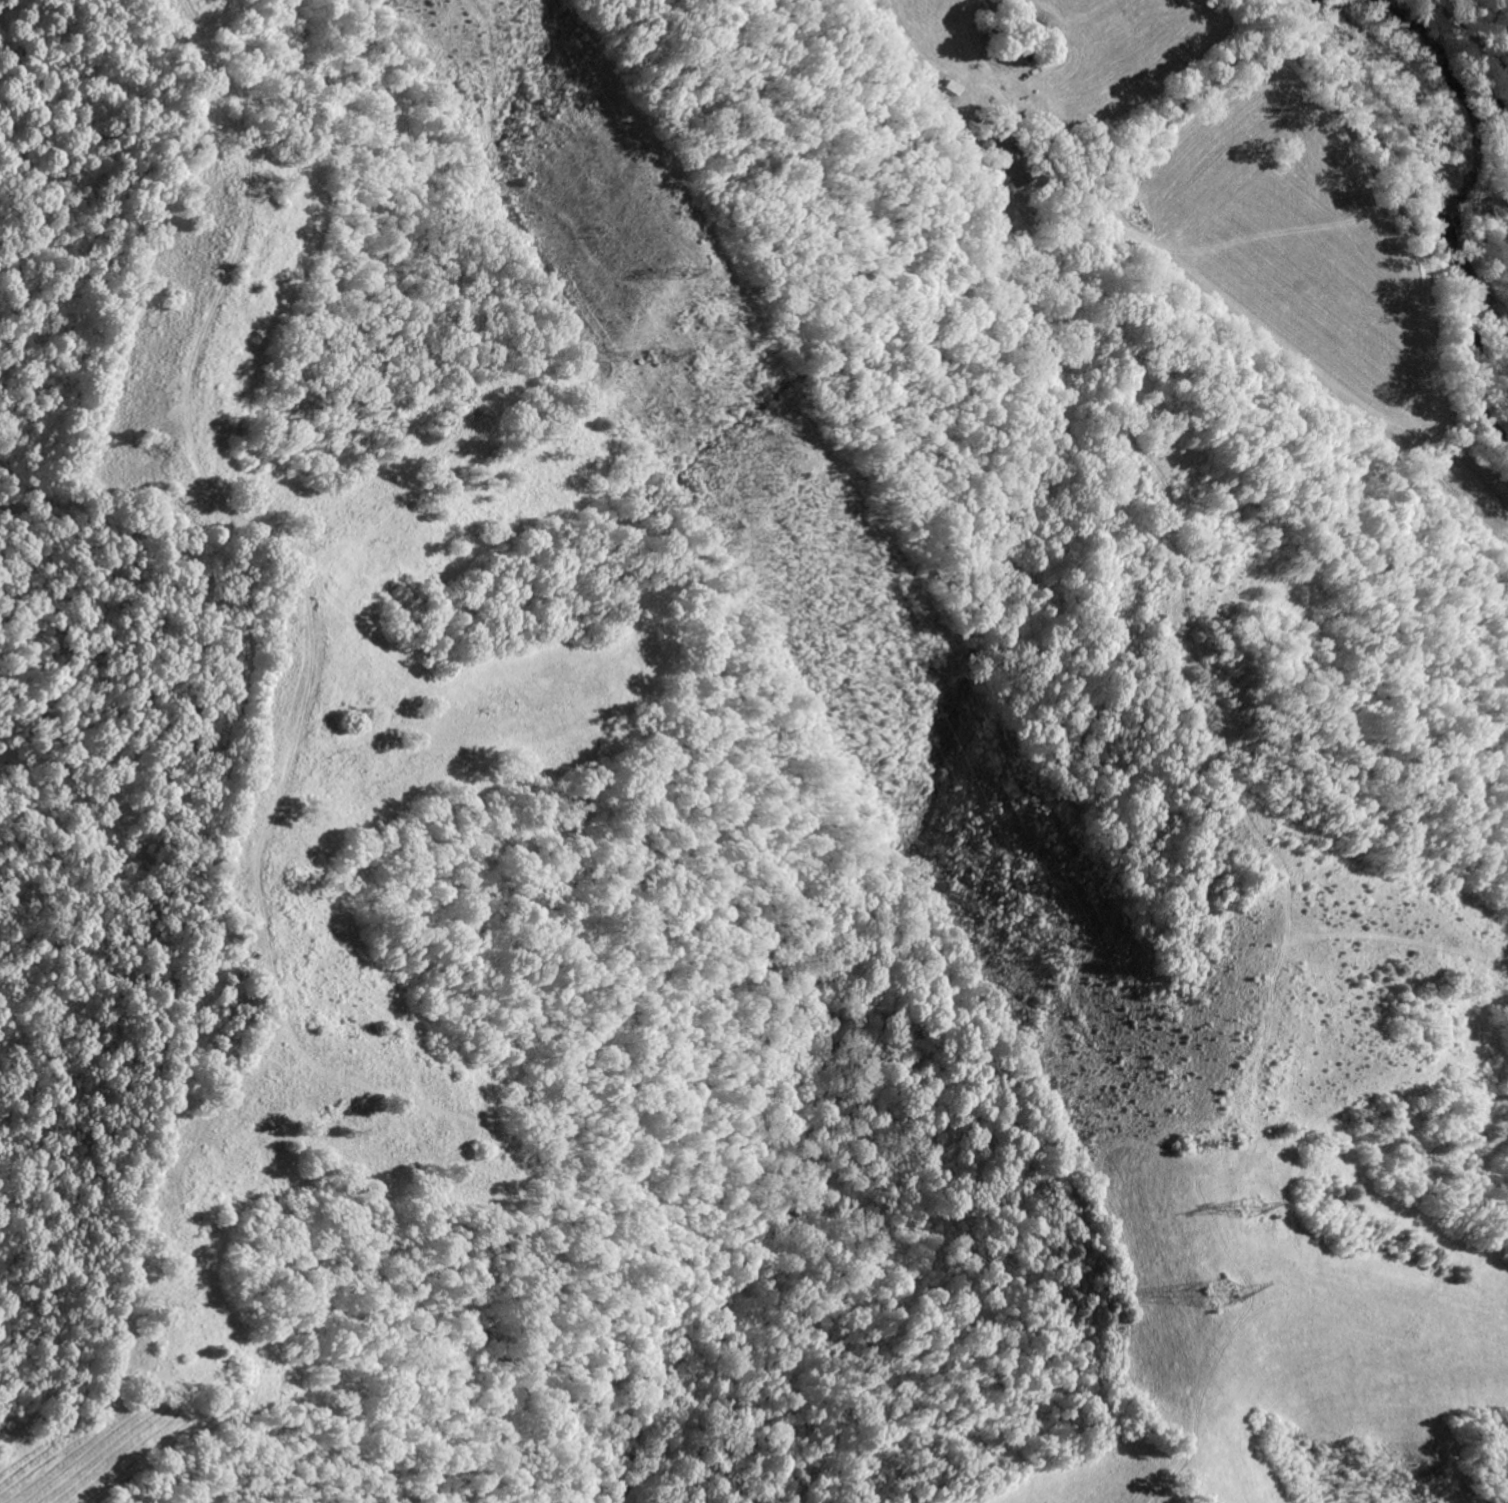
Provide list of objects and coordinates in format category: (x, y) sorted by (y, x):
road: (1461, 39)

